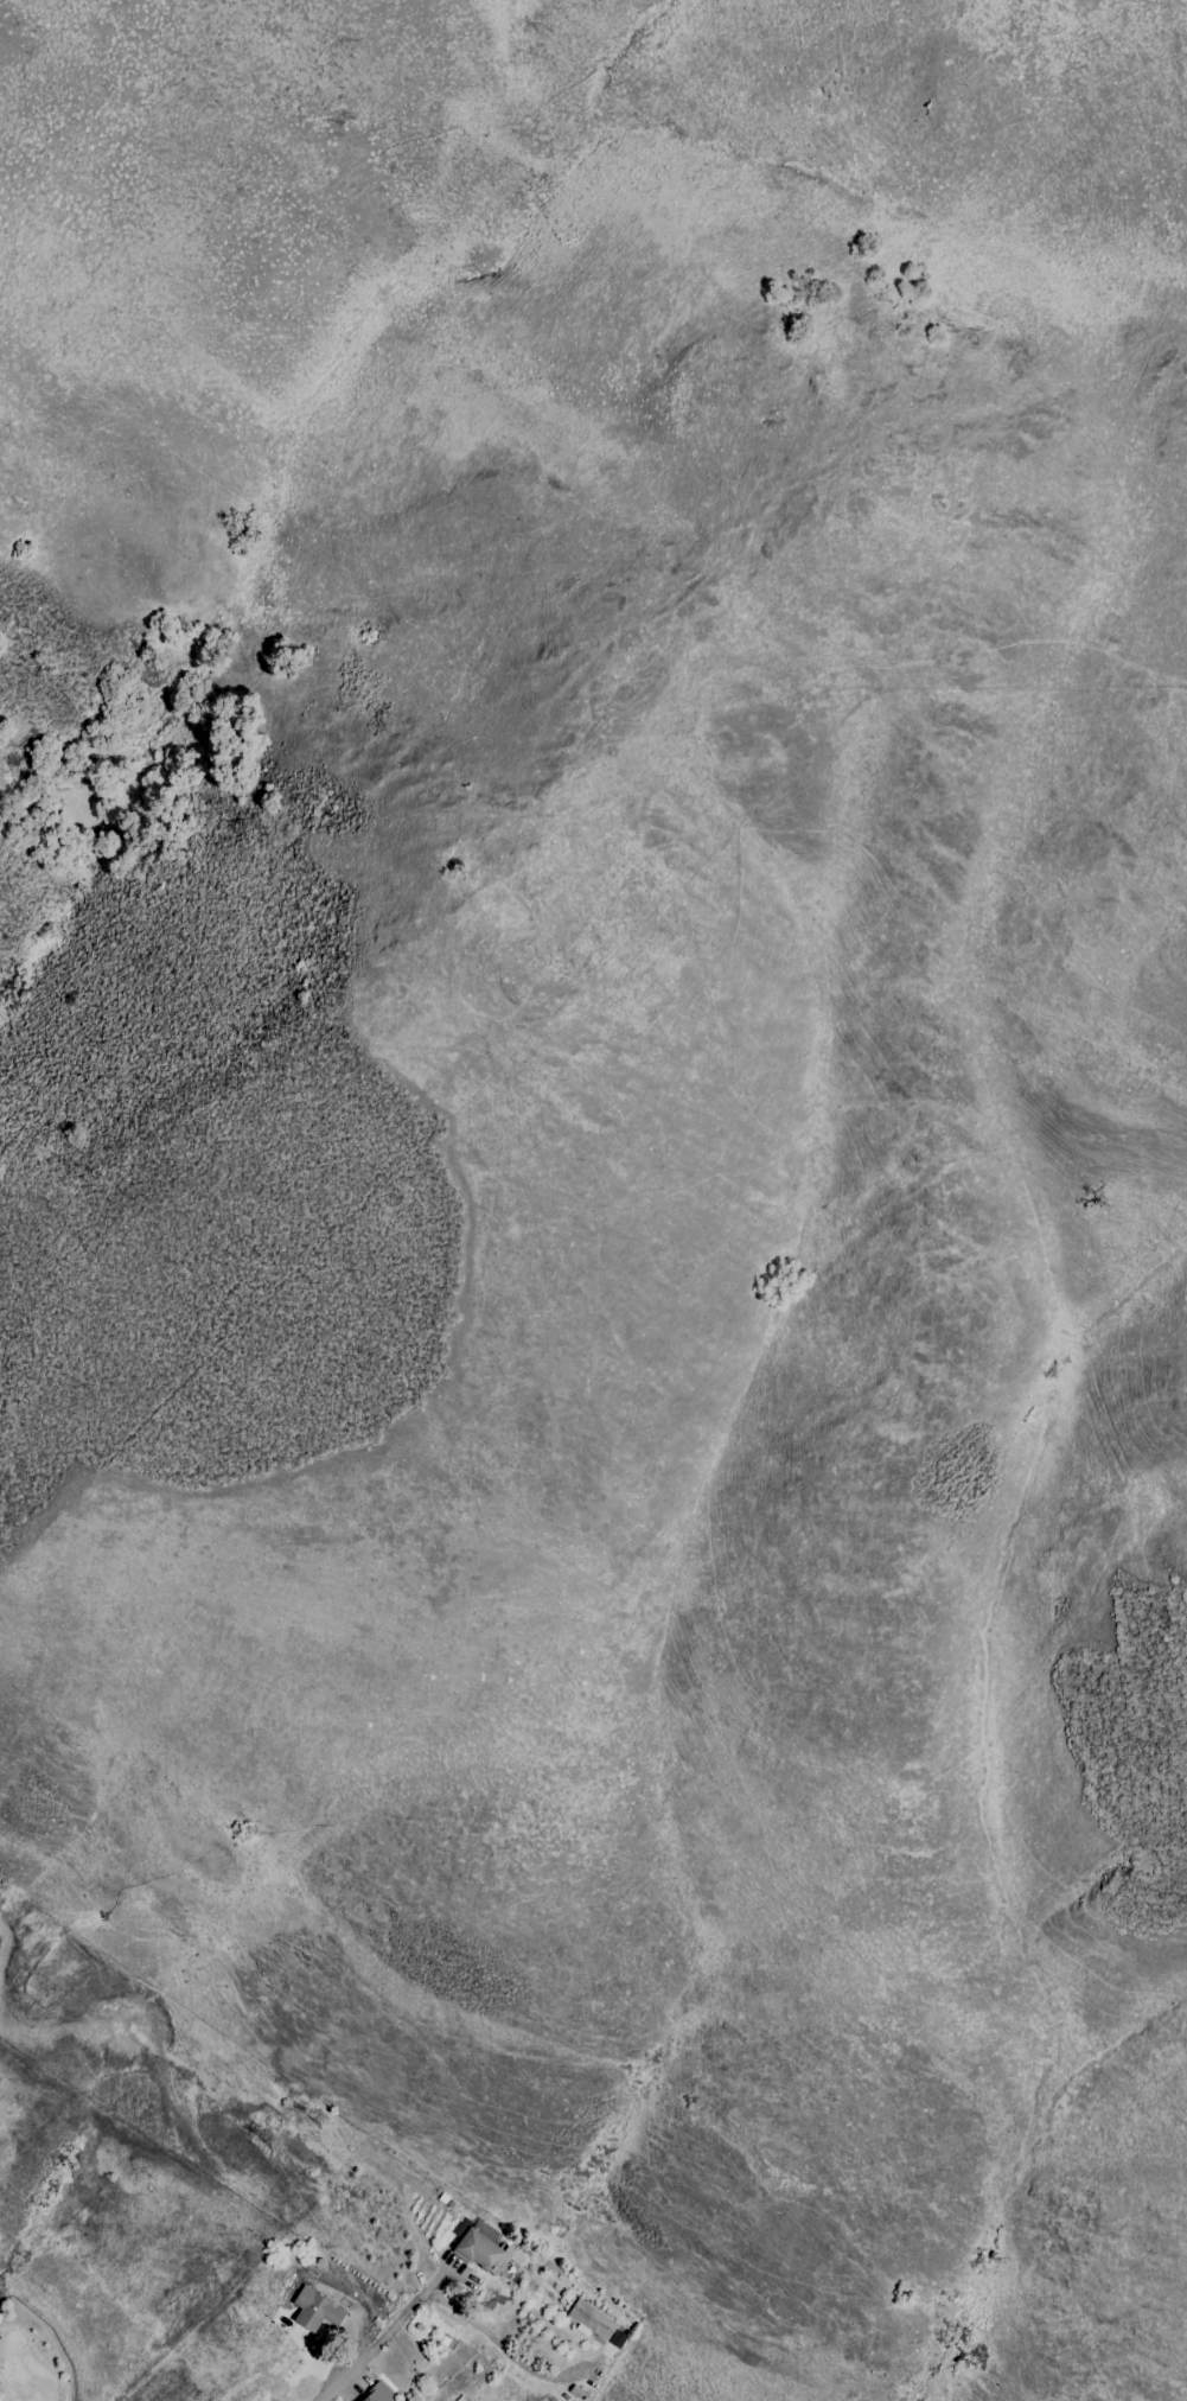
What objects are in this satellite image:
power tower: (321, 2119)
power tower: (270, 2142)
building: (443, 2198)
building: (460, 2227)
building: (484, 2252)
building: (314, 2284)
building: (317, 2310)
building: (592, 2319)
road: (393, 2327)
building: (618, 2339)
road: (506, 2351)
park: (27, 2358)
road: (332, 2390)
building: (576, 2392)
building: (378, 2393)
building: (465, 2400)

